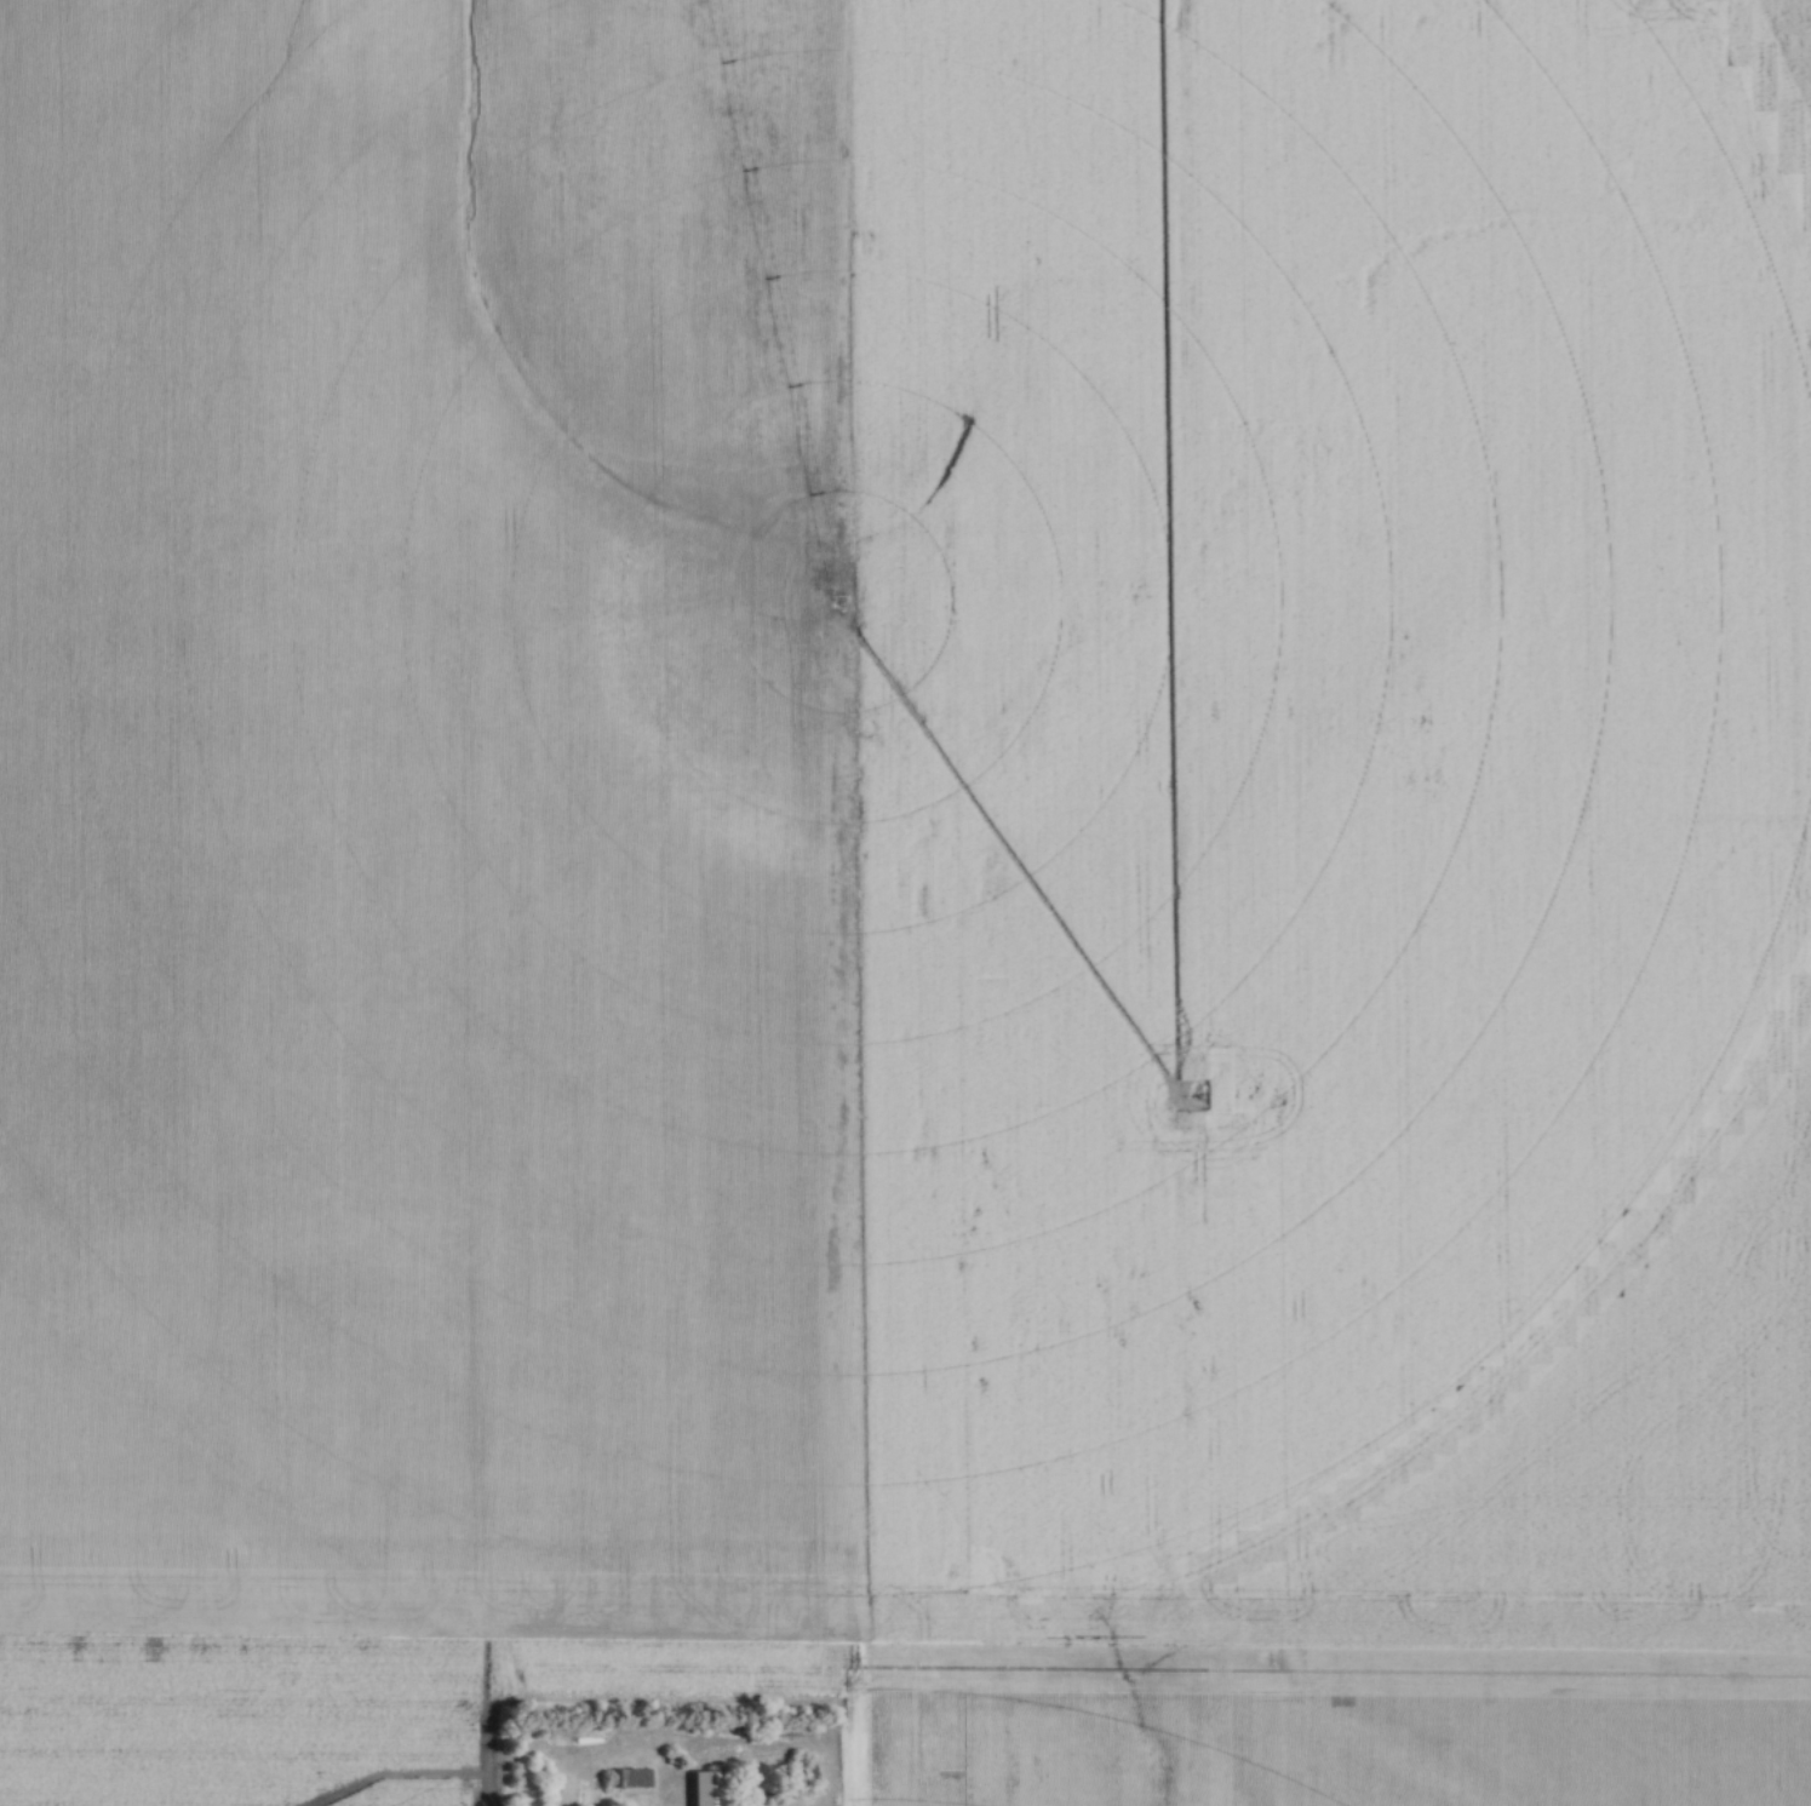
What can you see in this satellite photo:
building: (629, 1778)
building: (711, 1788)

